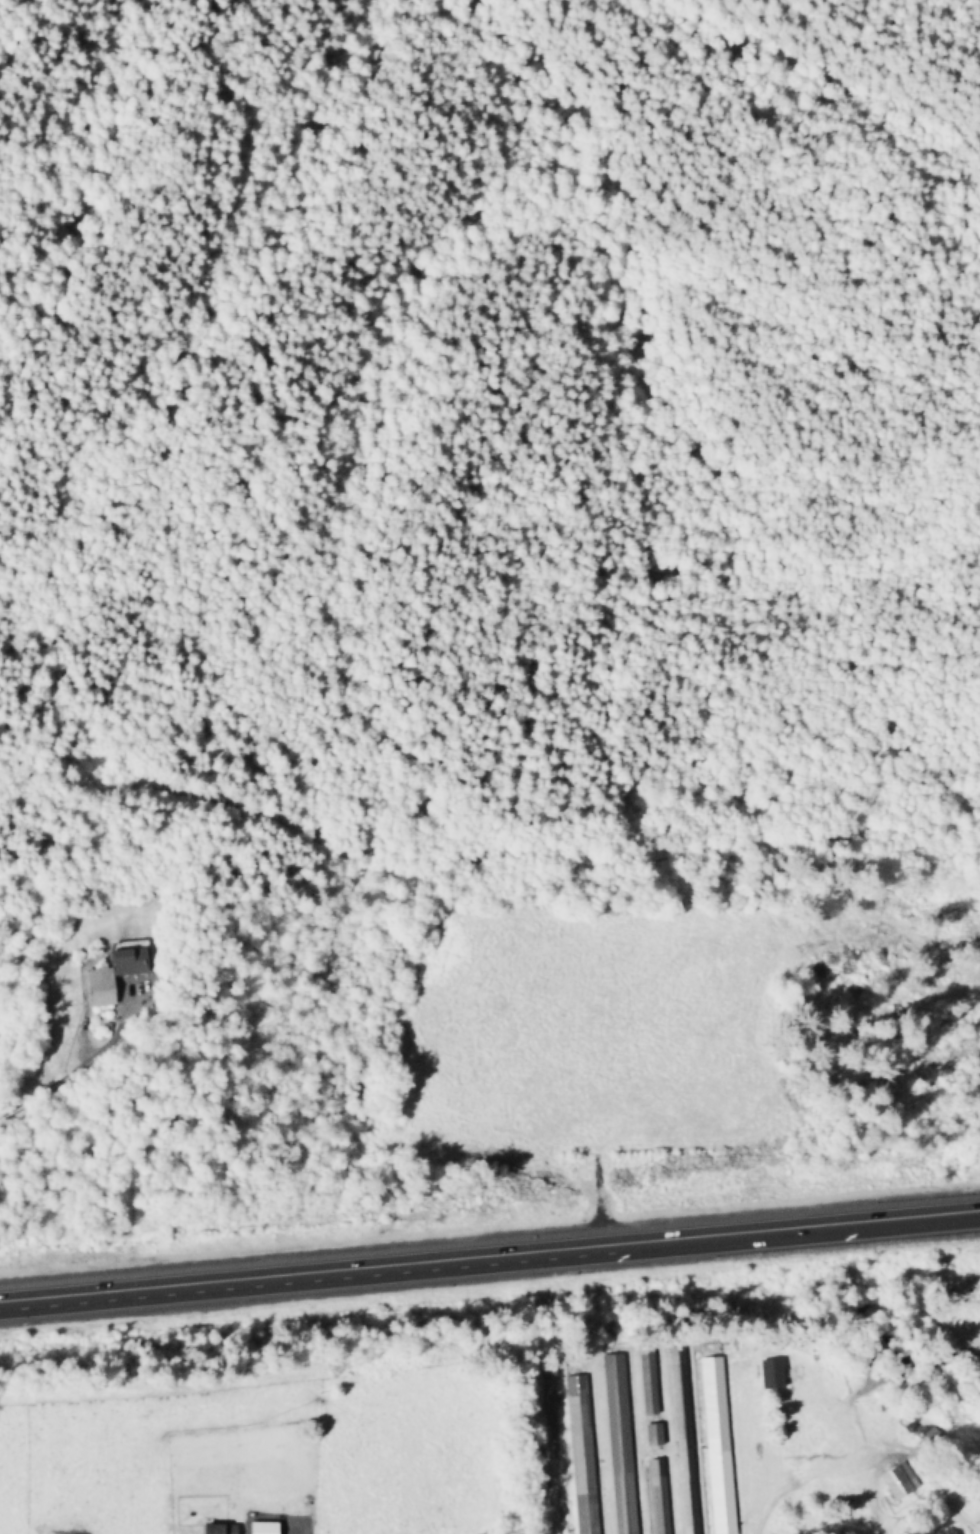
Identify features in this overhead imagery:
building: (110, 974)
road: (489, 1259)
building: (649, 1385)
building: (925, 1434)
building: (655, 1436)
building: (686, 1441)
building: (622, 1444)
building: (586, 1464)
building: (661, 1497)
building: (258, 1529)
building: (214, 1530)
road: (286, 1531)
building: (948, 1532)

